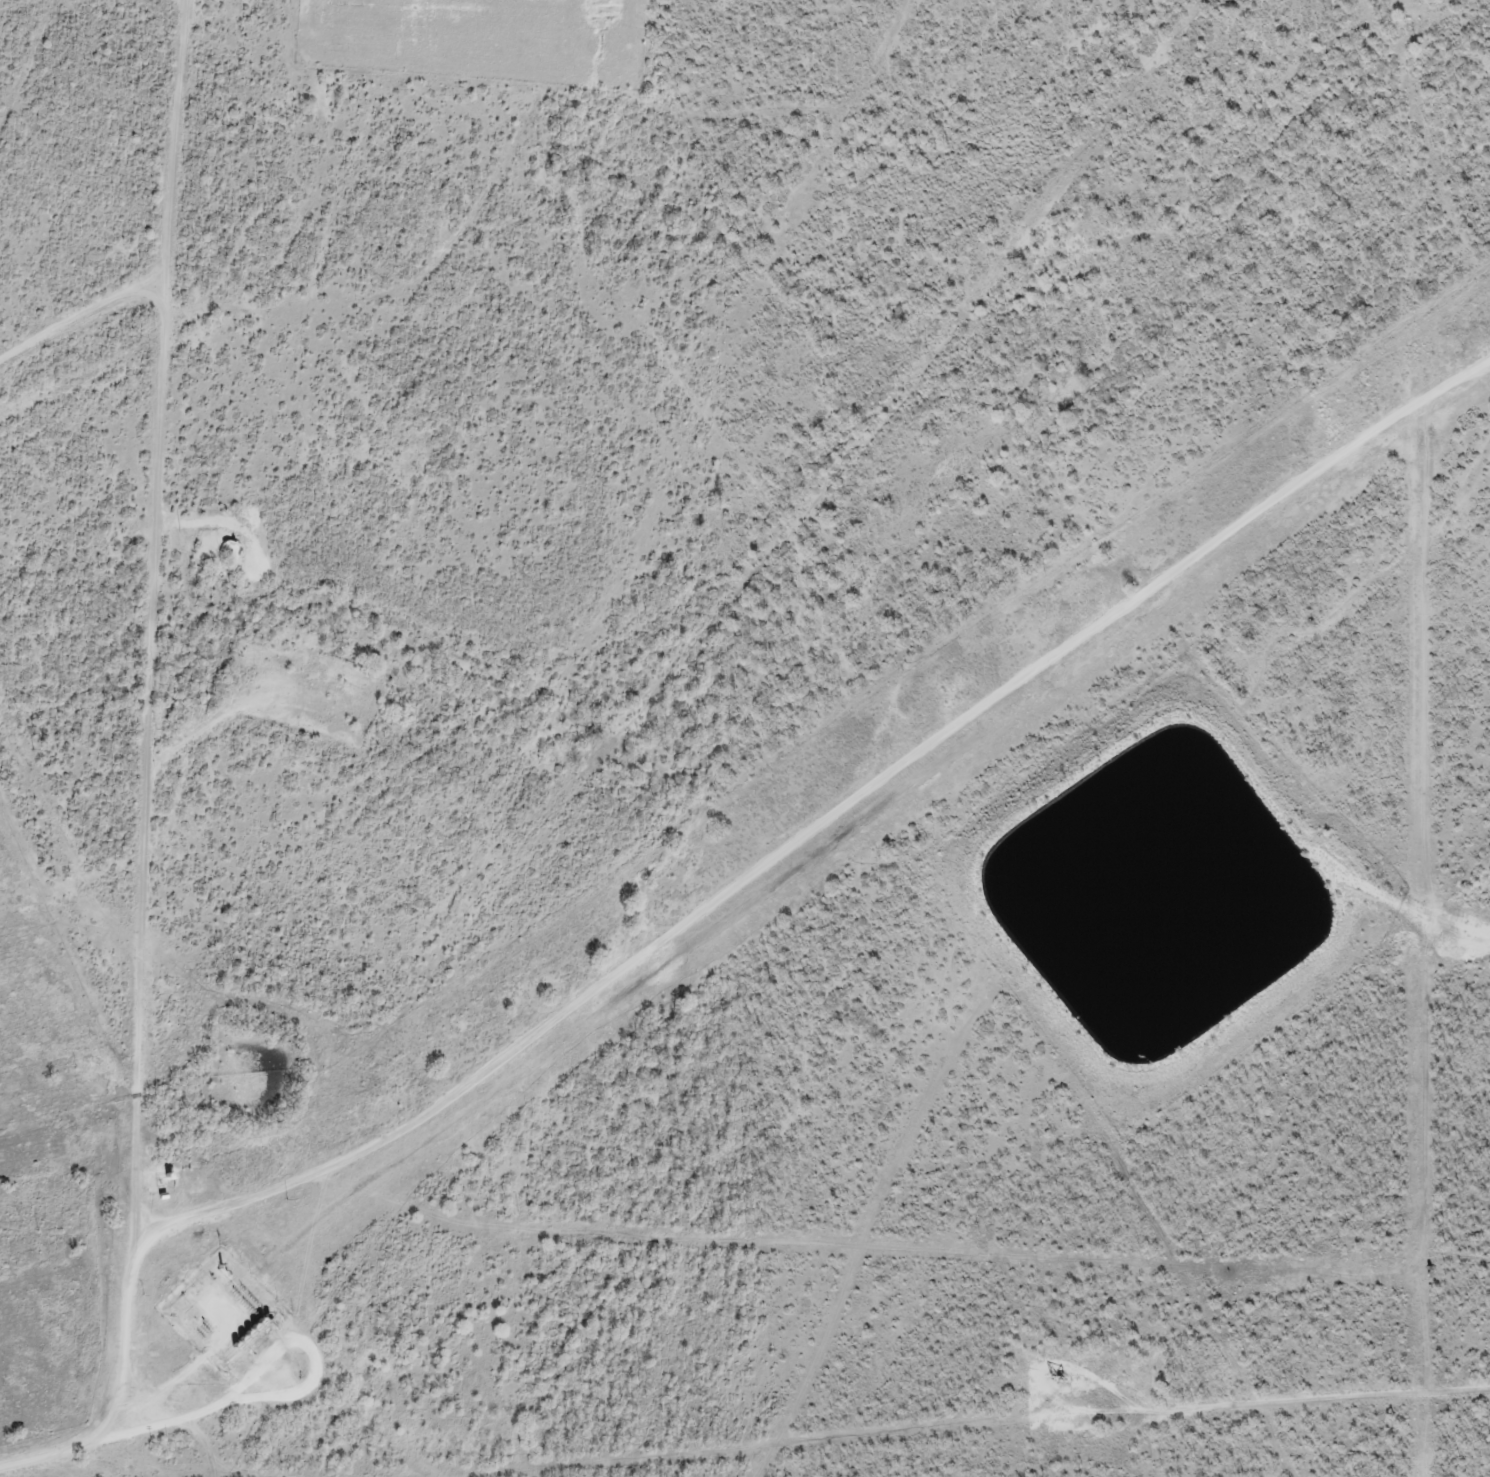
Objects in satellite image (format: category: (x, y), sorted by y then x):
road: (701, 910)

